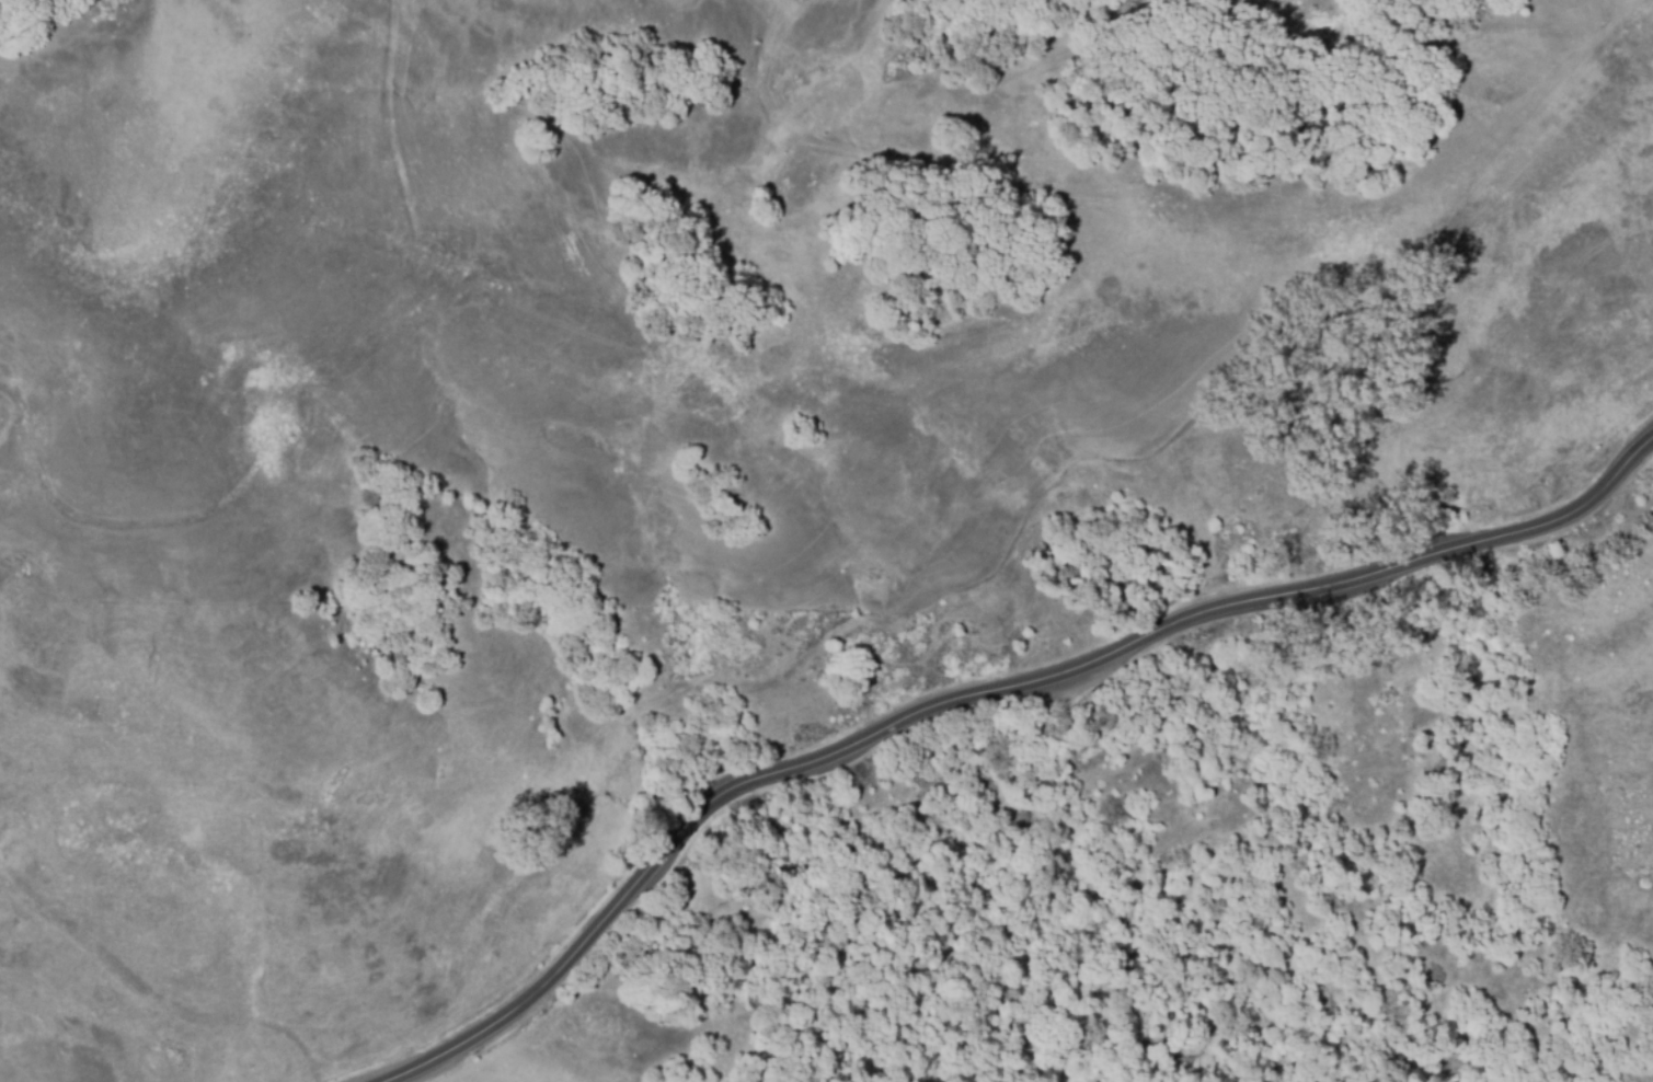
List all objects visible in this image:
road: (983, 693)

